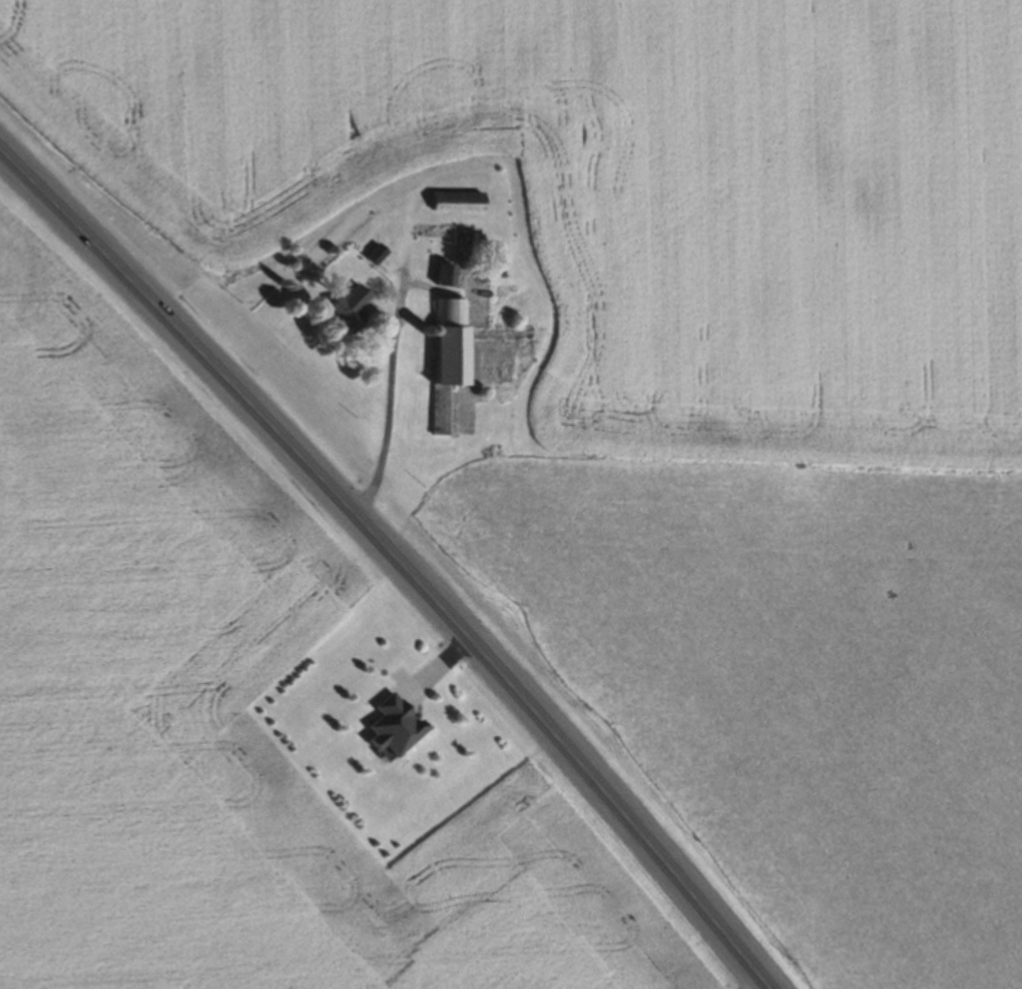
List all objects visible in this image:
building: (453, 205)
building: (439, 279)
building: (344, 313)
building: (444, 363)
road: (386, 386)
road: (417, 545)

